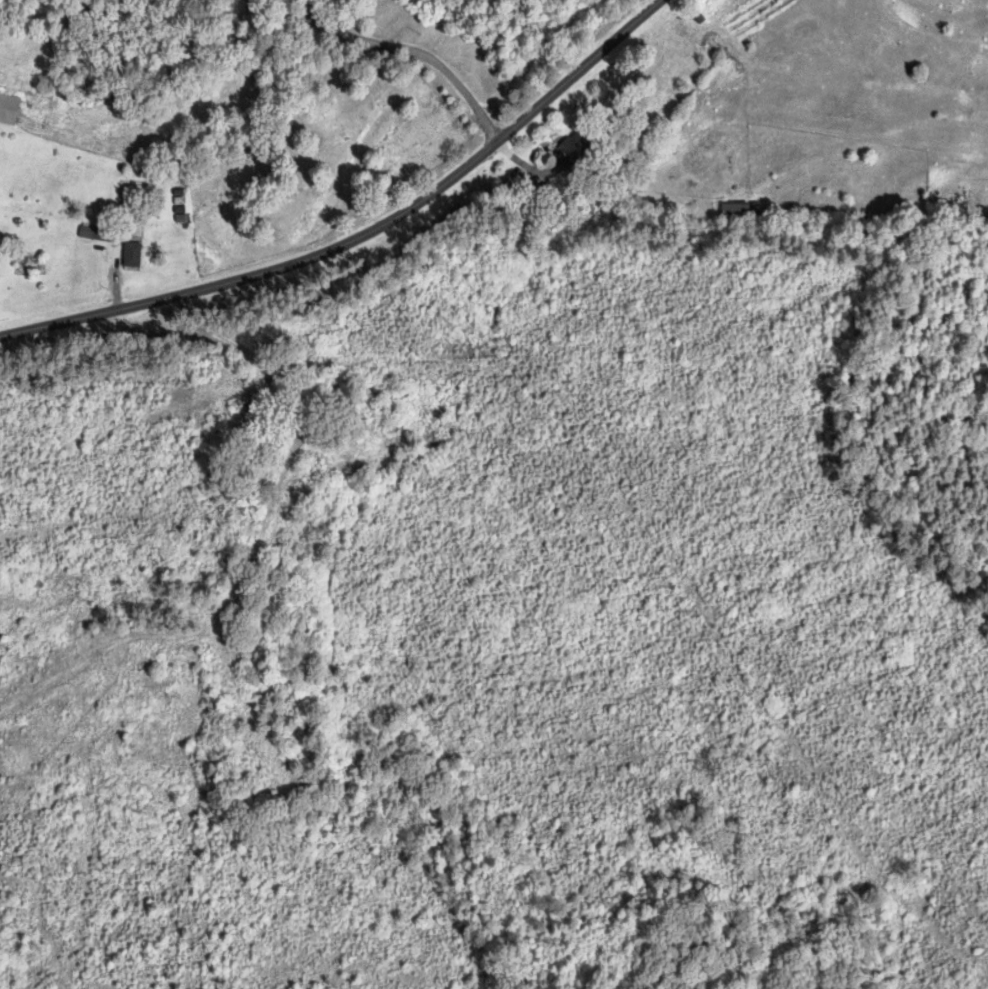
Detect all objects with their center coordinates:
road: (413, 50)
building: (22, 112)
building: (735, 212)
road: (364, 234)
building: (131, 255)
building: (252, 474)
building: (301, 529)

